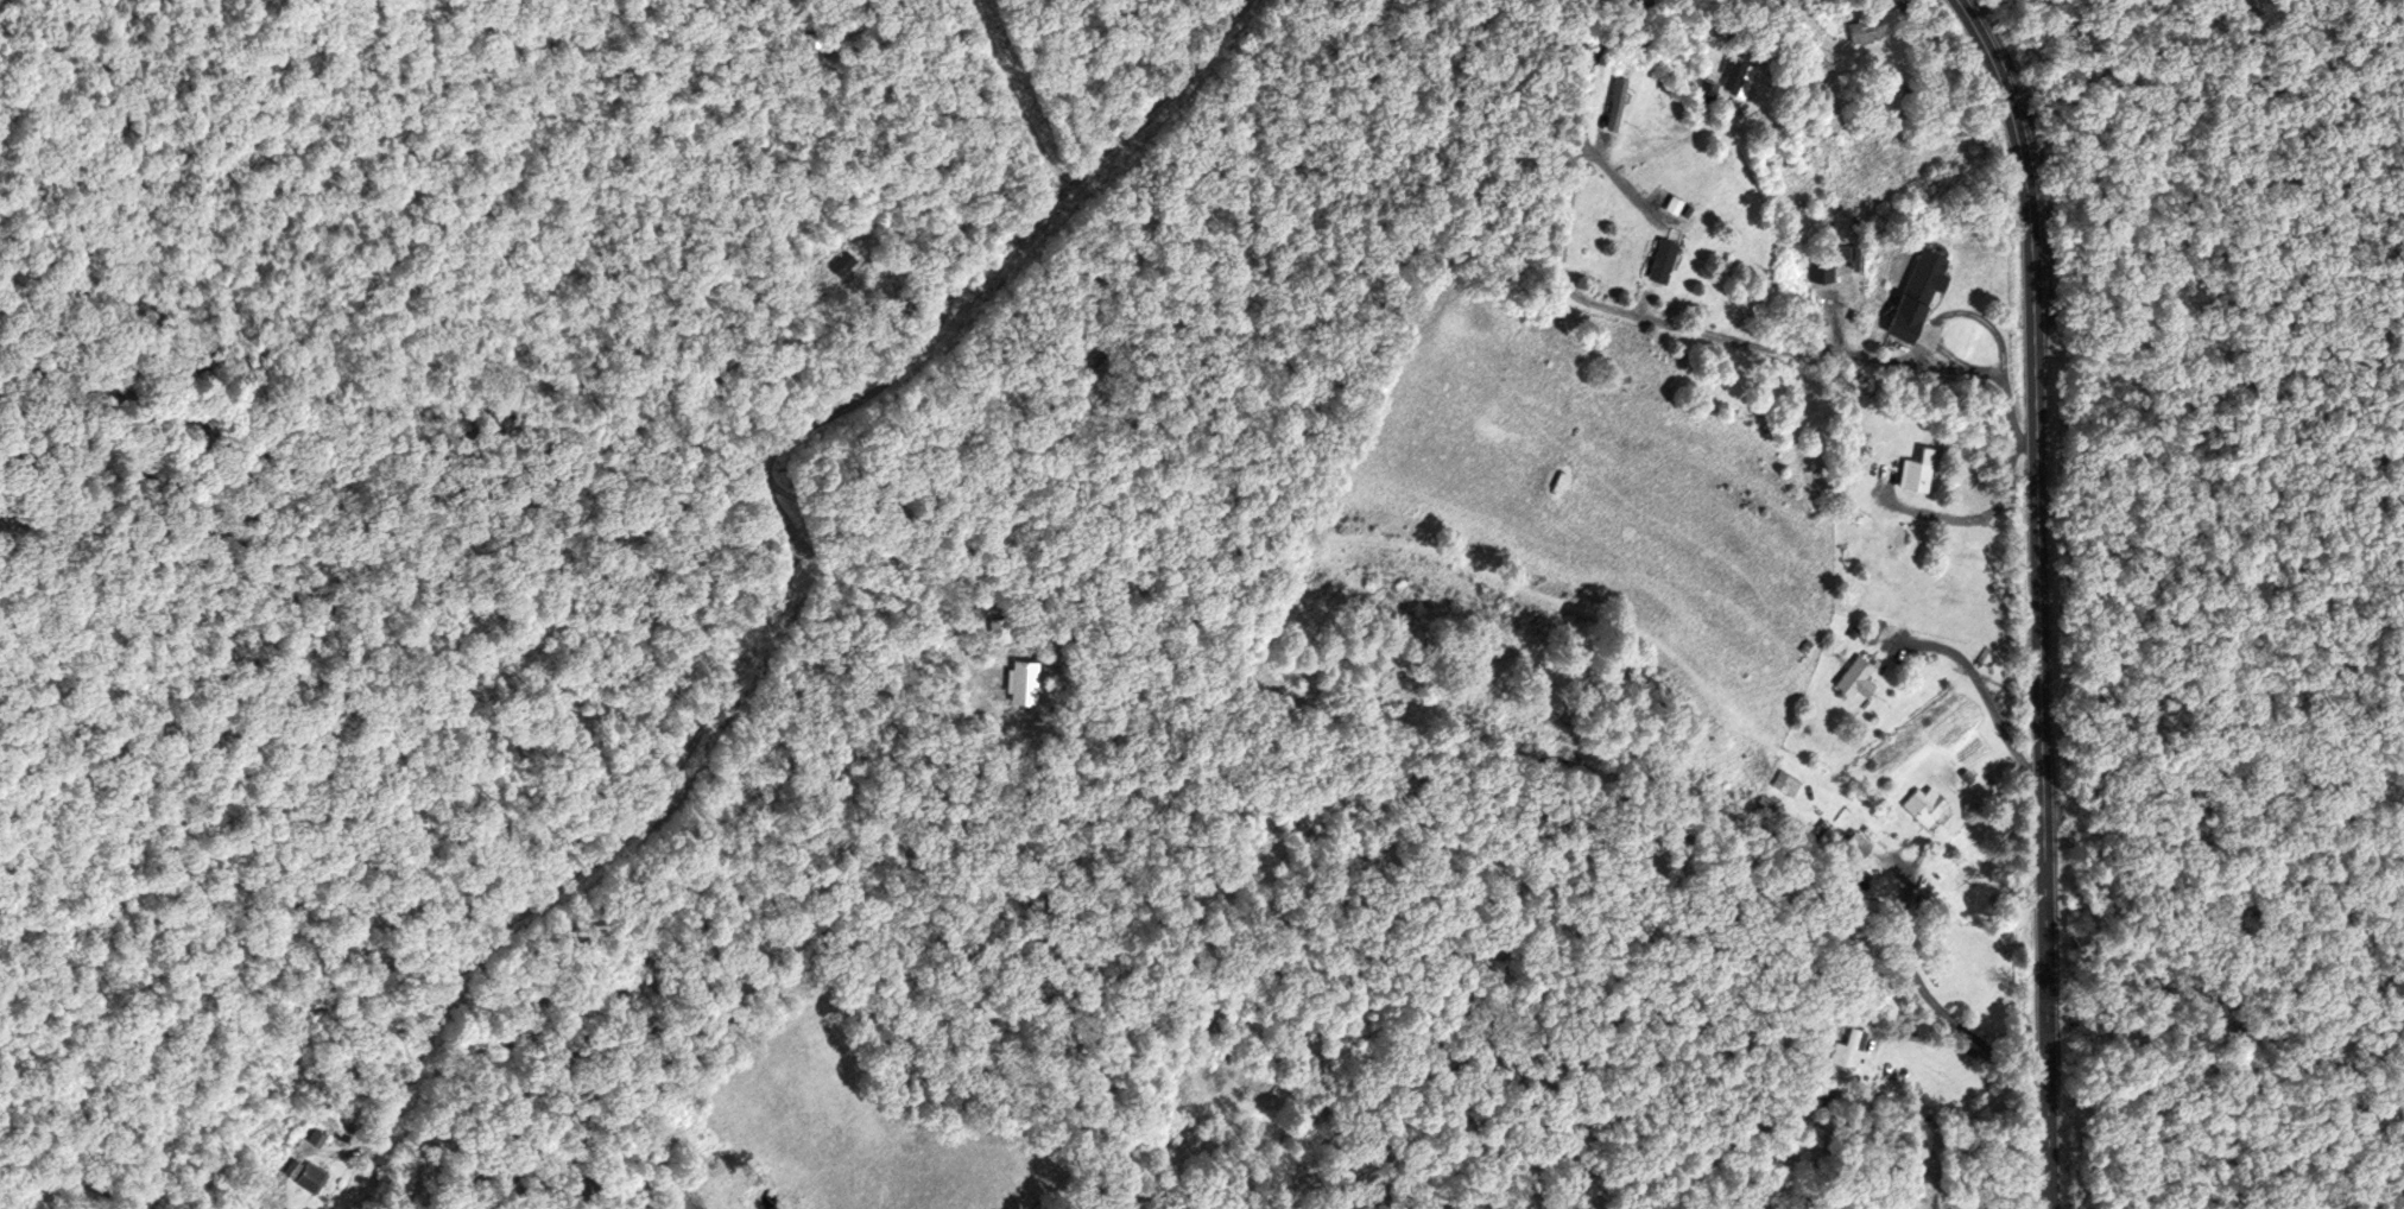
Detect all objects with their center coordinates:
building: (1866, 30)
building: (808, 44)
building: (1733, 71)
building: (1708, 88)
road: (1014, 91)
building: (1744, 93)
building: (1618, 101)
road: (1621, 179)
building: (1675, 205)
building: (1663, 259)
building: (846, 262)
building: (1822, 266)
building: (1918, 291)
road: (1670, 323)
building: (1918, 469)
road: (1979, 520)
building: (1897, 539)
road: (789, 570)
road: (2039, 595)
building: (480, 597)
building: (1001, 625)
building: (1858, 675)
building: (1024, 679)
road: (1982, 685)
building: (1788, 783)
building: (1928, 808)
building: (1859, 843)
road: (1924, 992)
building: (1846, 1046)
building: (310, 1177)

